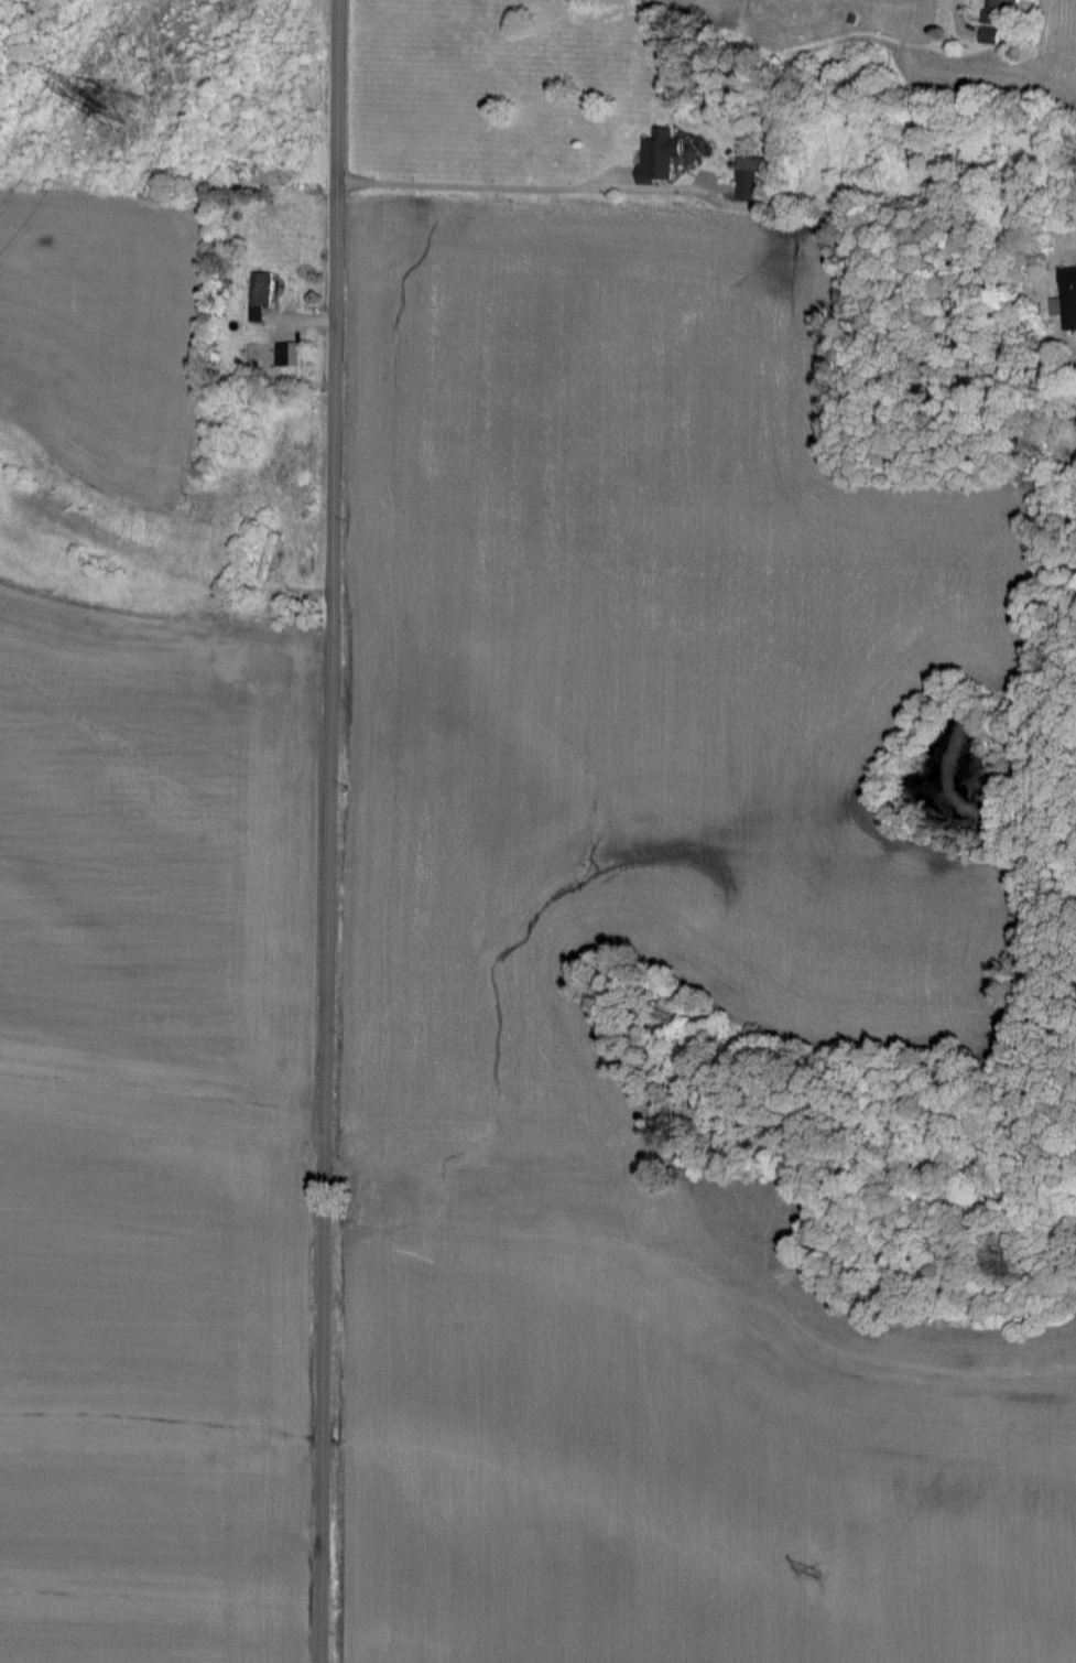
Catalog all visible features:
road: (959, 12)
building: (999, 12)
power tower: (124, 98)
building: (660, 154)
building: (751, 175)
road: (512, 191)
building: (263, 288)
building: (1067, 298)
building: (289, 354)
road: (332, 831)

